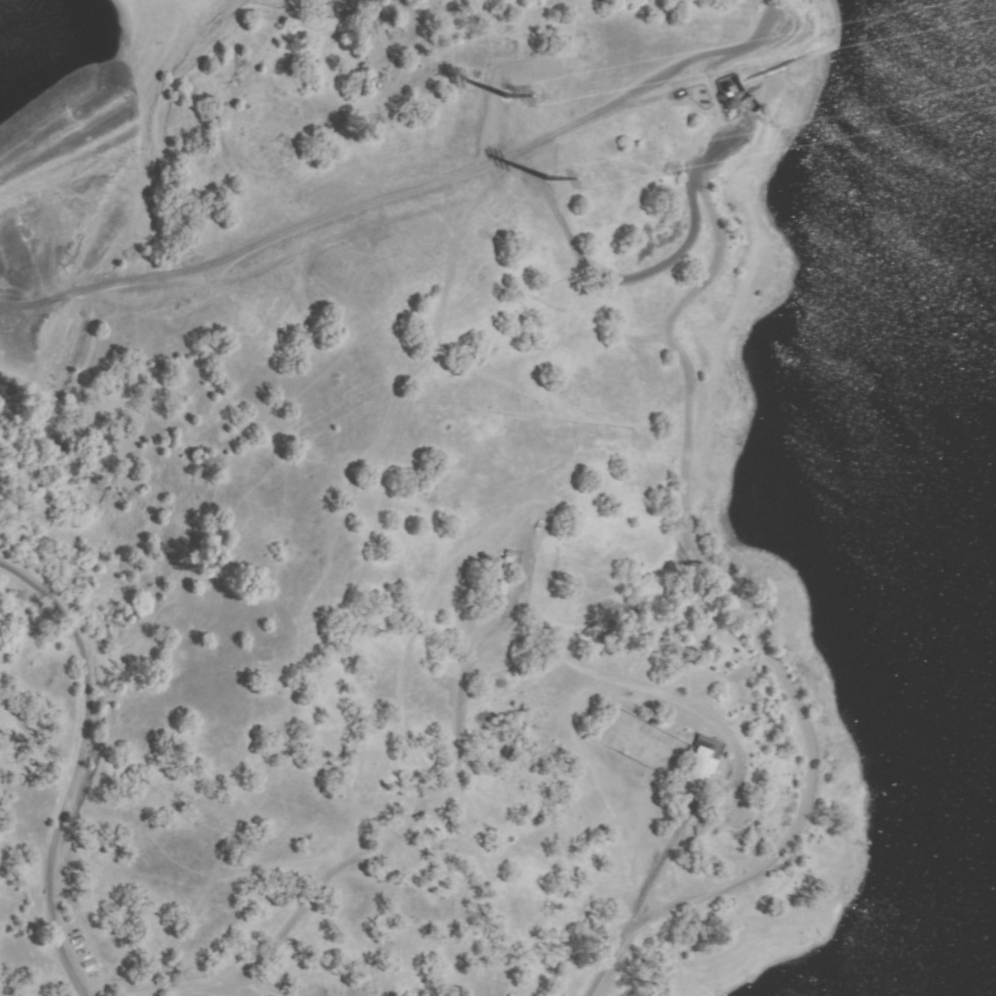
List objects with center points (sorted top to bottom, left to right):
building: (732, 84)
power tower: (536, 99)
road: (159, 160)
road: (461, 171)
power tower: (575, 177)
road: (26, 304)
building: (505, 580)
road: (735, 596)
building: (713, 761)
road: (83, 765)
building: (701, 766)
road: (652, 891)

